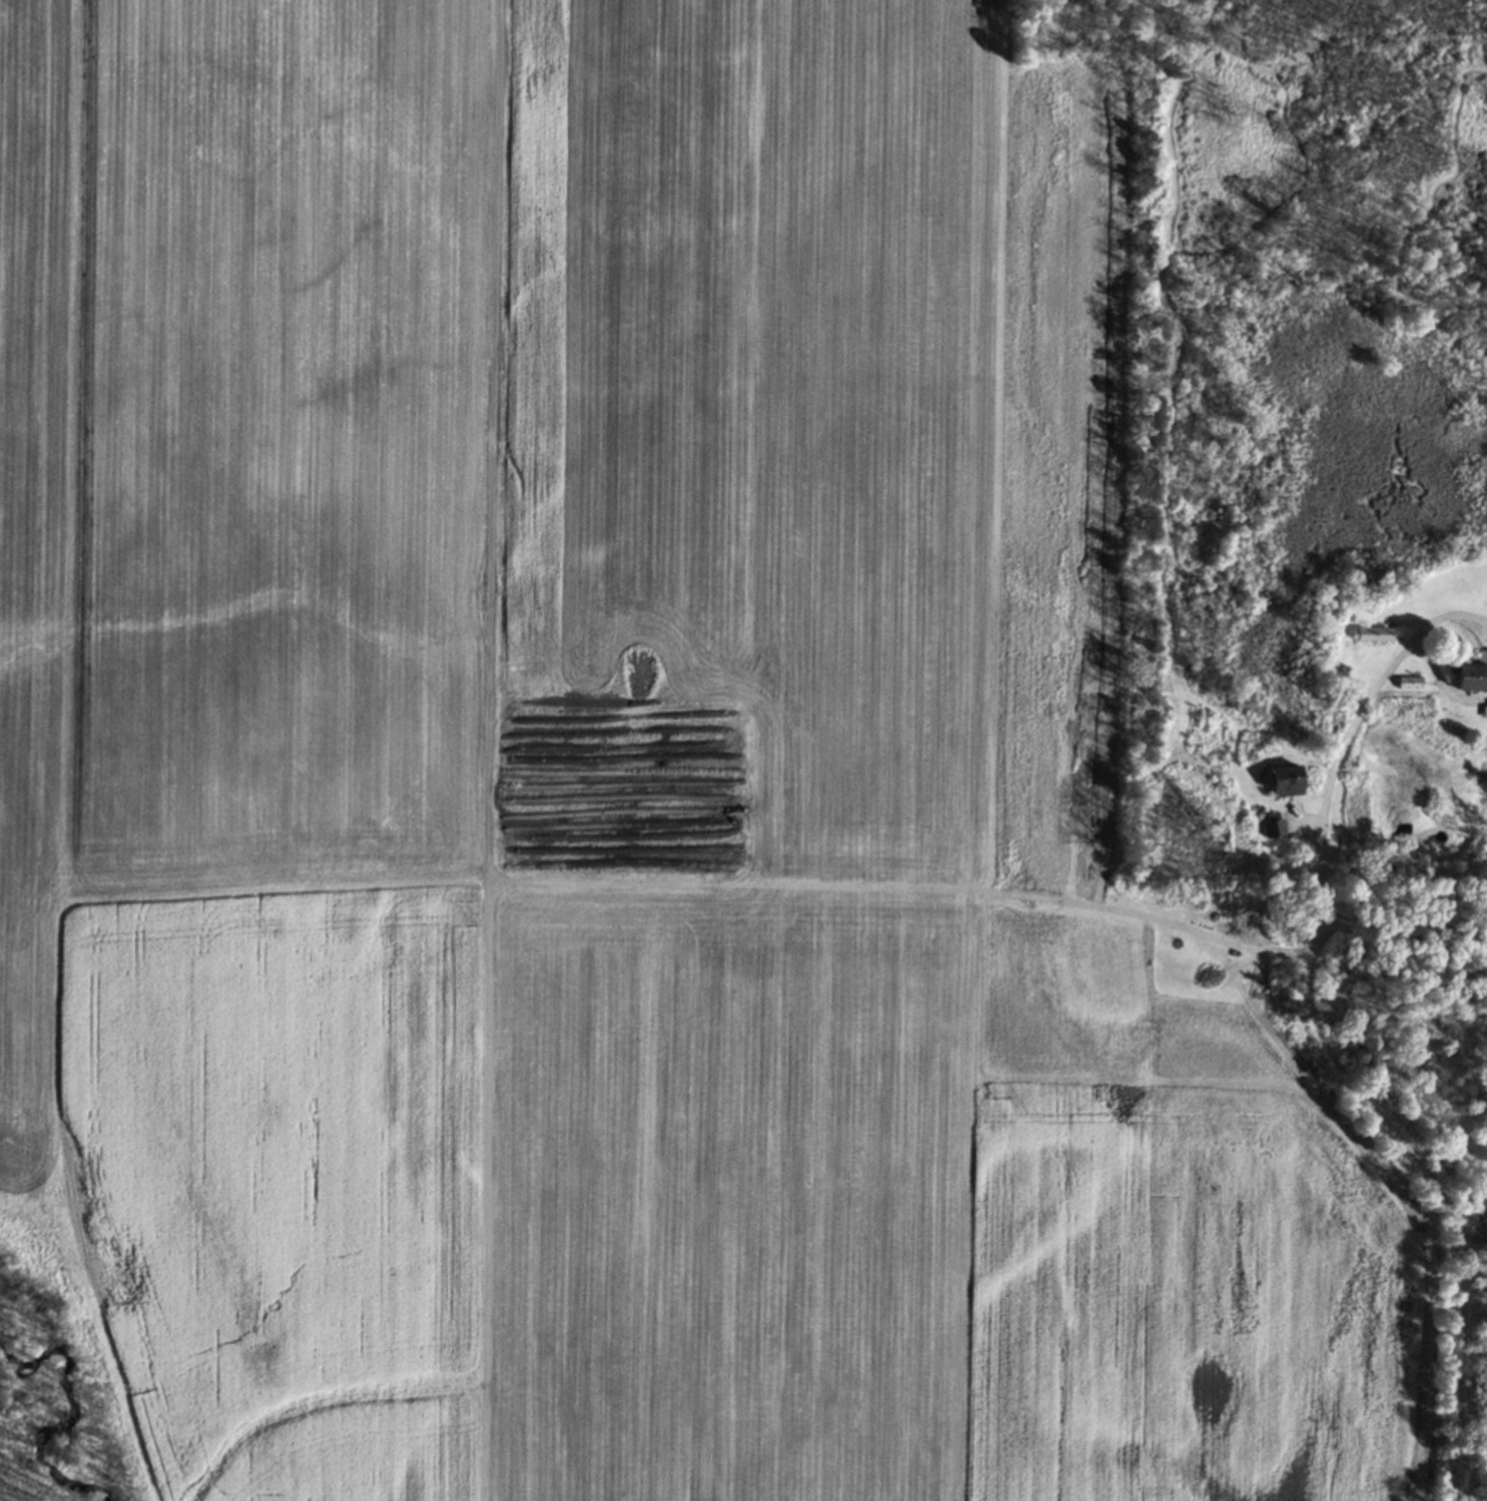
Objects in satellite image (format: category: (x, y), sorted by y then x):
building: (1370, 633)
building: (1469, 674)
road: (1440, 682)
building: (1280, 780)
road: (1324, 805)
building: (1271, 824)

